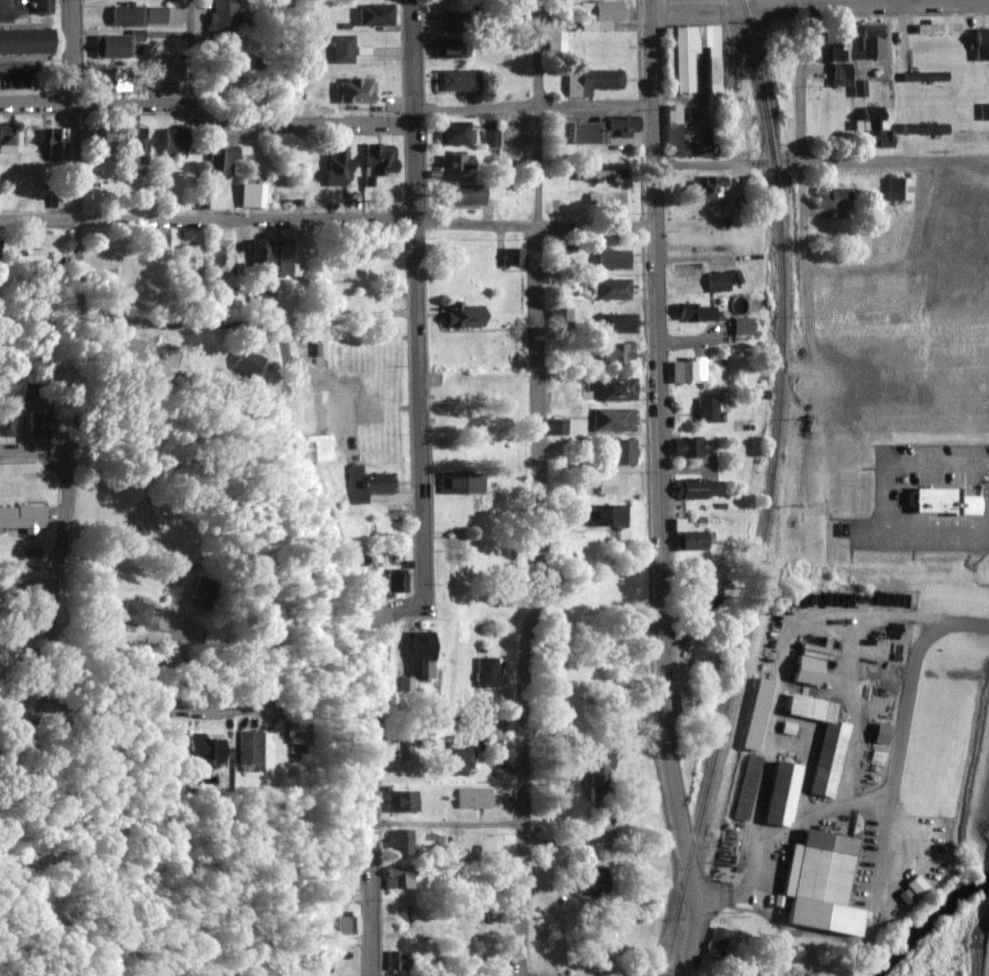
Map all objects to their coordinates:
road: (805, 2)
road: (819, 4)
building: (43, 7)
building: (139, 14)
building: (376, 15)
building: (600, 15)
building: (452, 20)
building: (221, 22)
building: (937, 28)
building: (26, 42)
building: (555, 43)
building: (873, 43)
building: (981, 44)
building: (111, 46)
building: (449, 47)
building: (342, 50)
road: (412, 51)
building: (839, 63)
building: (167, 72)
building: (678, 72)
building: (925, 77)
building: (116, 79)
building: (459, 81)
building: (592, 82)
building: (356, 91)
road: (533, 103)
road: (414, 109)
road: (205, 110)
building: (983, 112)
building: (870, 122)
building: (673, 125)
building: (925, 129)
building: (598, 130)
building: (523, 132)
building: (455, 134)
building: (491, 139)
building: (7, 140)
building: (101, 140)
building: (53, 145)
building: (175, 145)
road: (67, 160)
building: (221, 160)
building: (380, 160)
road: (820, 160)
building: (461, 164)
building: (338, 168)
building: (603, 175)
building: (708, 190)
building: (896, 190)
building: (252, 196)
building: (465, 196)
building: (831, 203)
road: (803, 208)
road: (327, 222)
building: (260, 251)
building: (0, 254)
building: (158, 254)
building: (31, 257)
building: (190, 257)
building: (220, 257)
building: (509, 257)
building: (289, 258)
building: (612, 260)
road: (906, 261)
building: (719, 282)
building: (612, 290)
building: (697, 311)
building: (466, 314)
building: (617, 323)
building: (742, 325)
road: (285, 349)
building: (615, 355)
building: (688, 370)
building: (618, 389)
building: (461, 403)
building: (710, 410)
building: (354, 414)
building: (7, 419)
building: (615, 421)
building: (40, 422)
building: (693, 447)
building: (926, 448)
road: (29, 451)
building: (621, 452)
building: (370, 480)
building: (462, 482)
building: (607, 484)
road: (535, 488)
building: (700, 488)
road: (659, 489)
railway: (767, 492)
building: (948, 501)
road: (63, 509)
building: (605, 515)
building: (22, 516)
building: (690, 538)
road: (423, 556)
road: (28, 584)
building: (206, 593)
building: (138, 612)
building: (423, 656)
building: (809, 670)
road: (266, 683)
building: (688, 702)
road: (902, 726)
building: (303, 732)
building: (882, 733)
building: (822, 740)
building: (252, 748)
building: (411, 750)
building: (209, 751)
building: (461, 762)
building: (602, 774)
building: (746, 786)
building: (782, 794)
building: (475, 798)
building: (404, 801)
road: (446, 823)
building: (403, 842)
building: (399, 877)
building: (595, 883)
building: (823, 883)
river: (922, 916)
building: (347, 925)
building: (483, 942)
building: (717, 943)
building: (399, 960)

